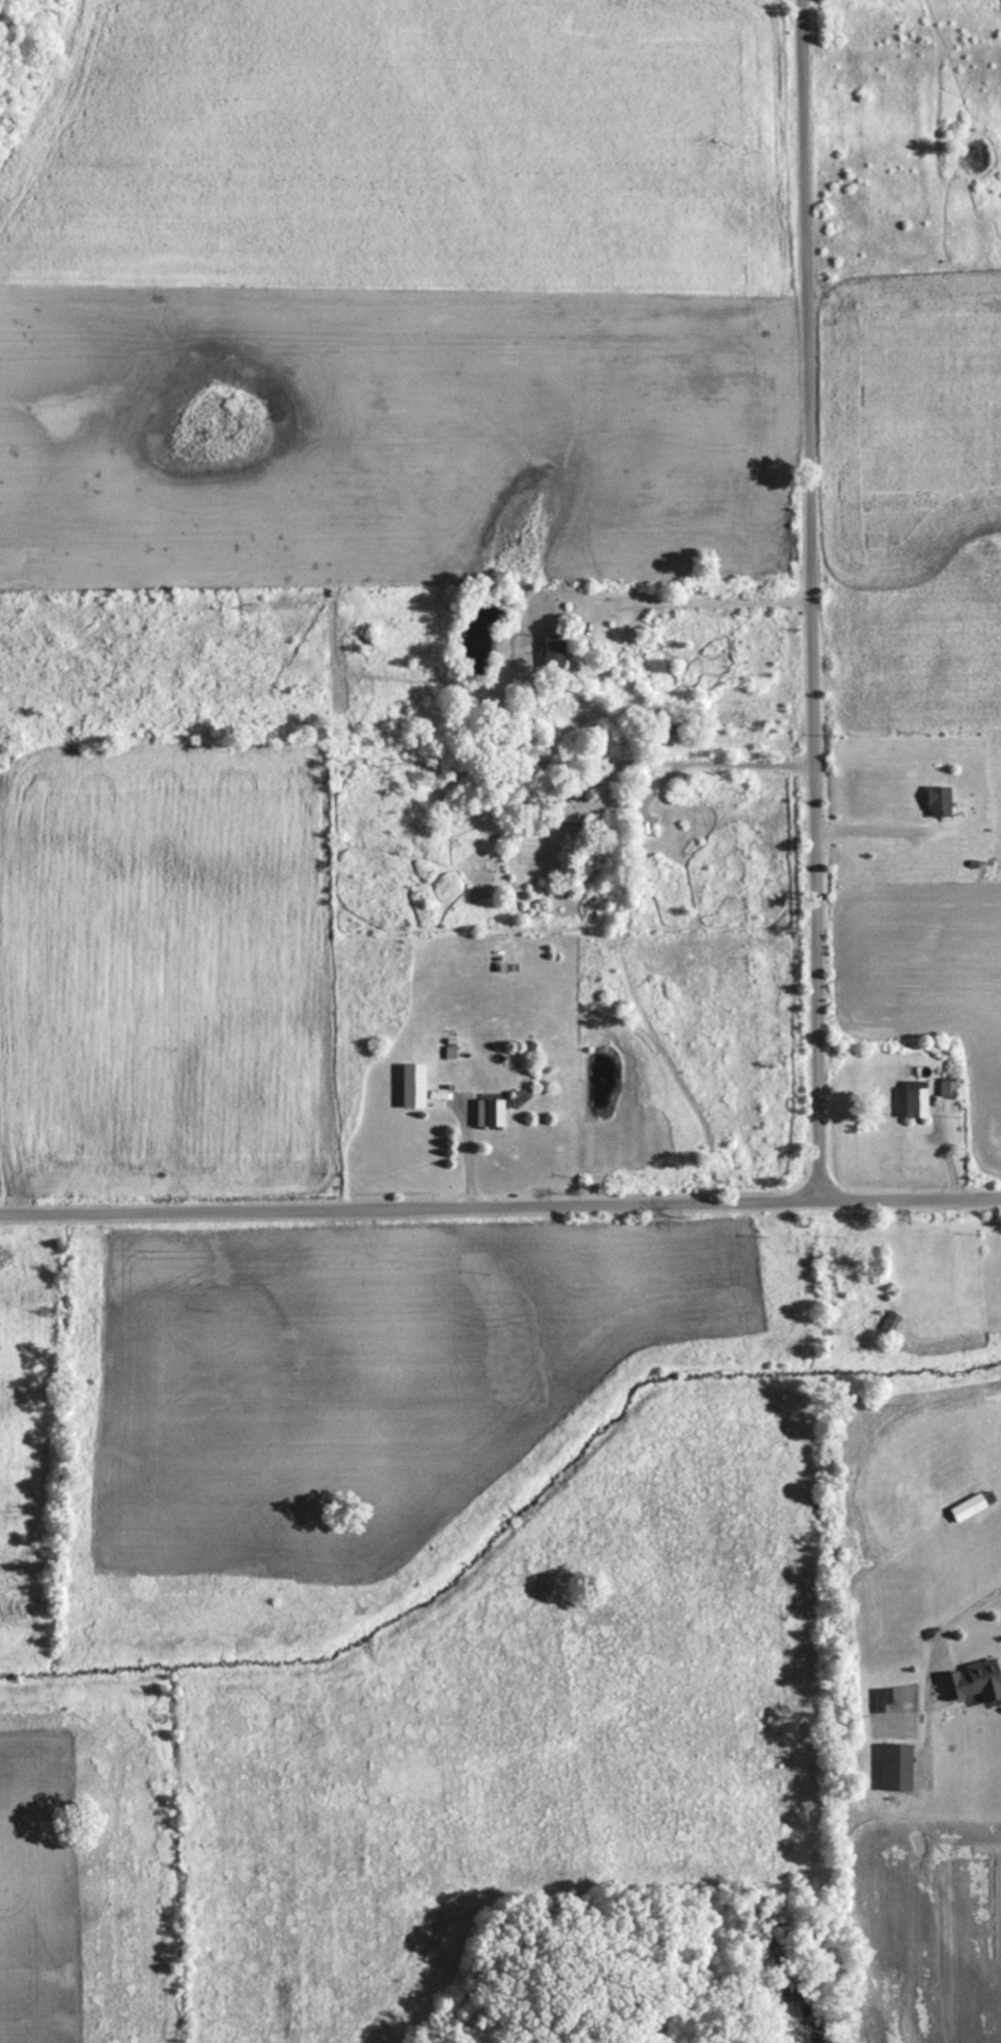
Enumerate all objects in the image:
road: (817, 603)
building: (550, 652)
building: (935, 801)
building: (578, 811)
building: (410, 1085)
building: (945, 1086)
building: (912, 1100)
building: (486, 1109)
road: (500, 1213)
building: (887, 1320)
building: (969, 1504)
building: (969, 1680)
building: (893, 1765)

